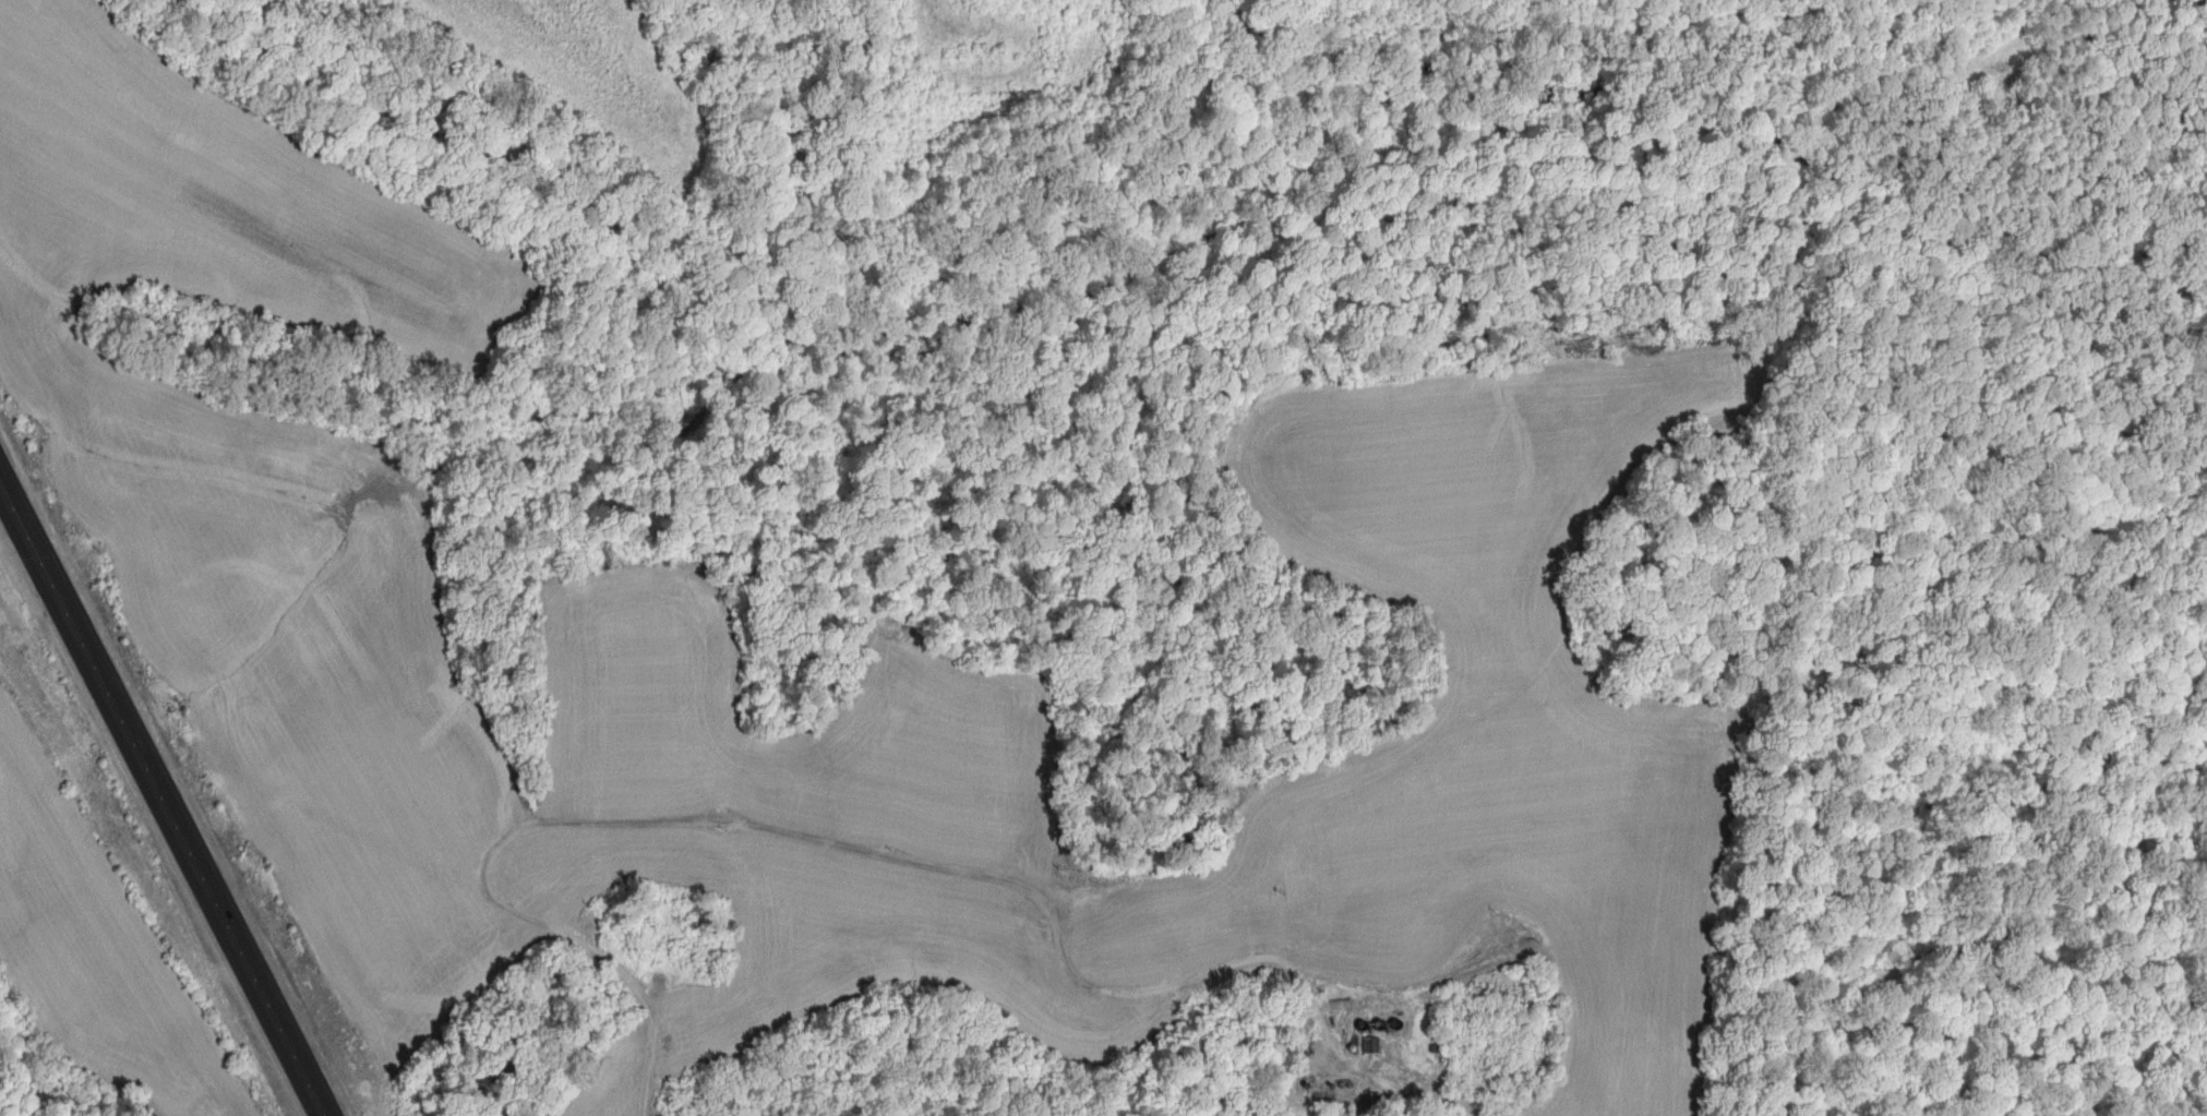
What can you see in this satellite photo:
road: (1926, 224)
road: (165, 796)
road: (805, 836)
building: (605, 913)

